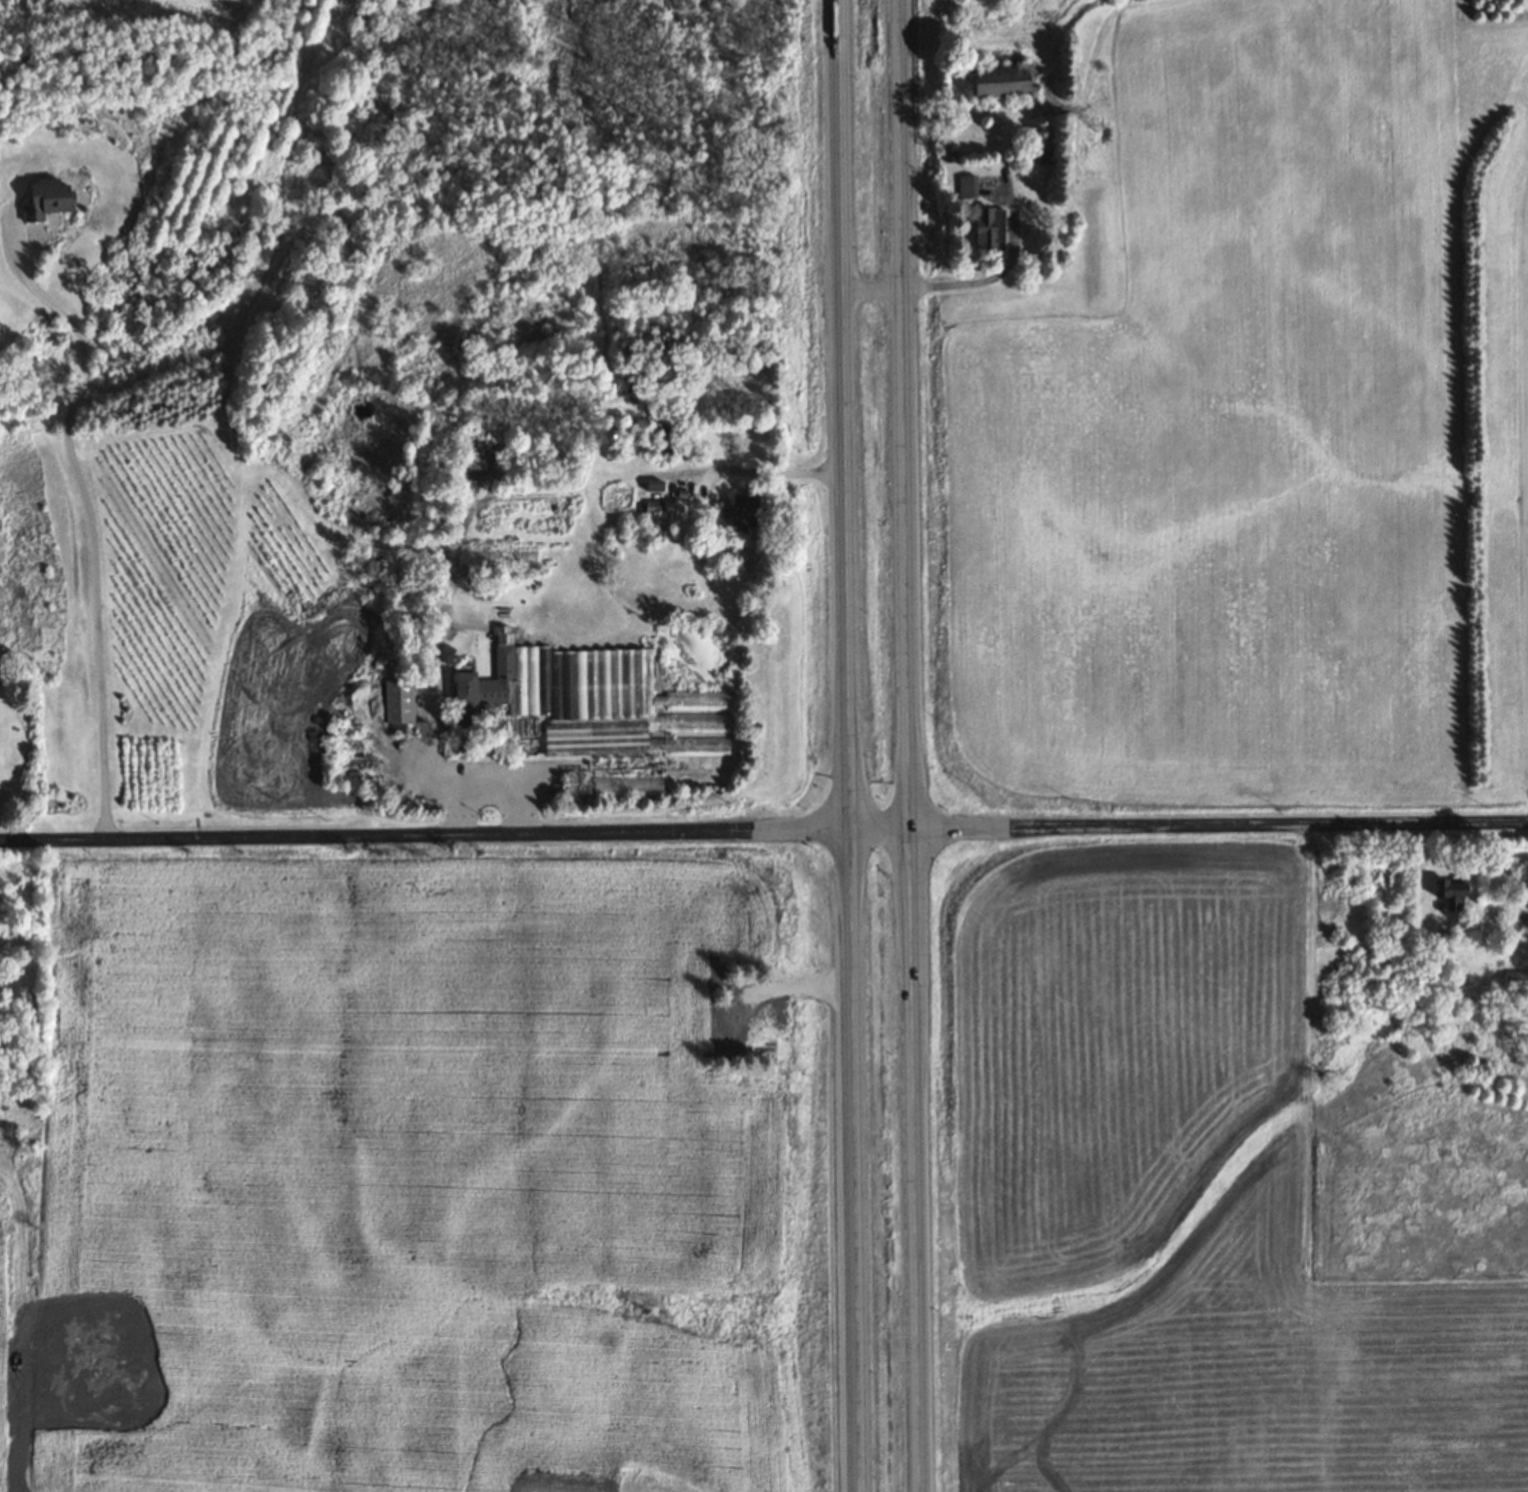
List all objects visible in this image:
building: (998, 80)
building: (966, 187)
building: (44, 197)
building: (988, 228)
road: (1526, 398)
road: (768, 469)
building: (744, 515)
road: (90, 522)
building: (396, 701)
building: (597, 702)
road: (850, 745)
road: (908, 745)
road: (489, 785)
building: (616, 785)
building: (576, 786)
road: (763, 828)
building: (1449, 894)
building: (1517, 981)

